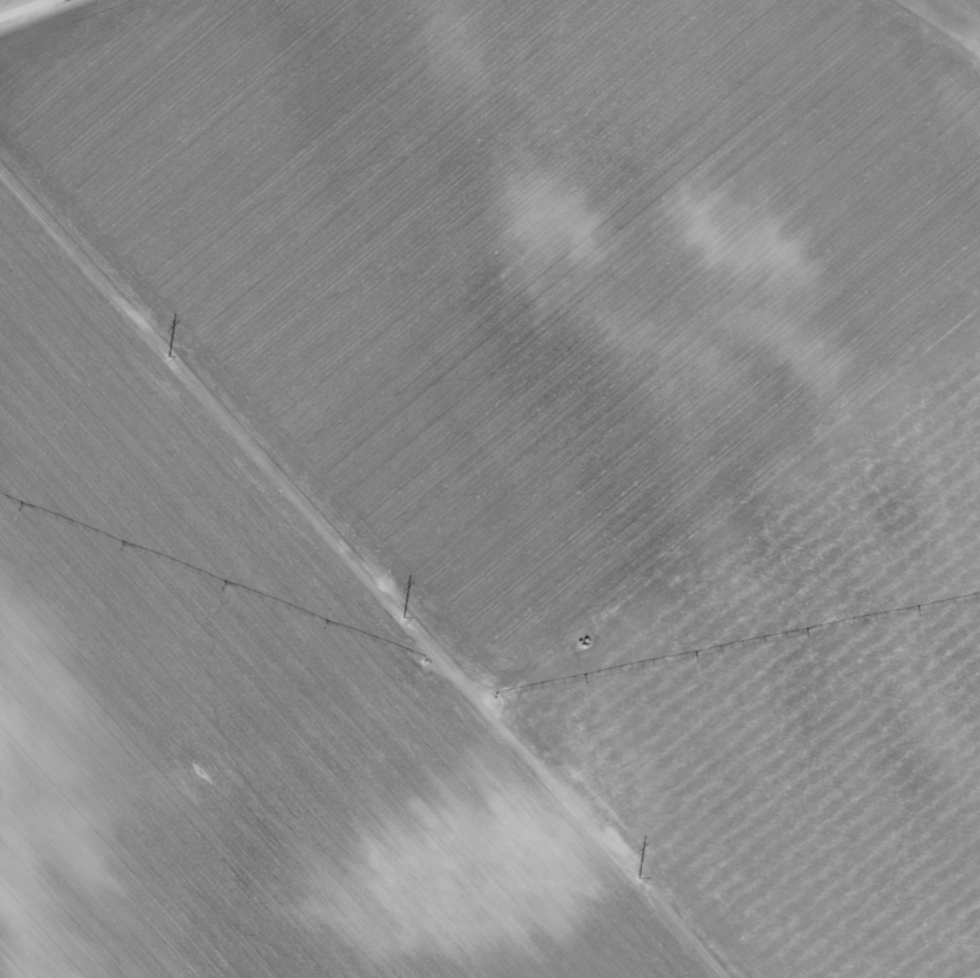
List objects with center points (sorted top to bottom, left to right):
power tower: (174, 365)
power tower: (409, 626)
power tower: (644, 885)

